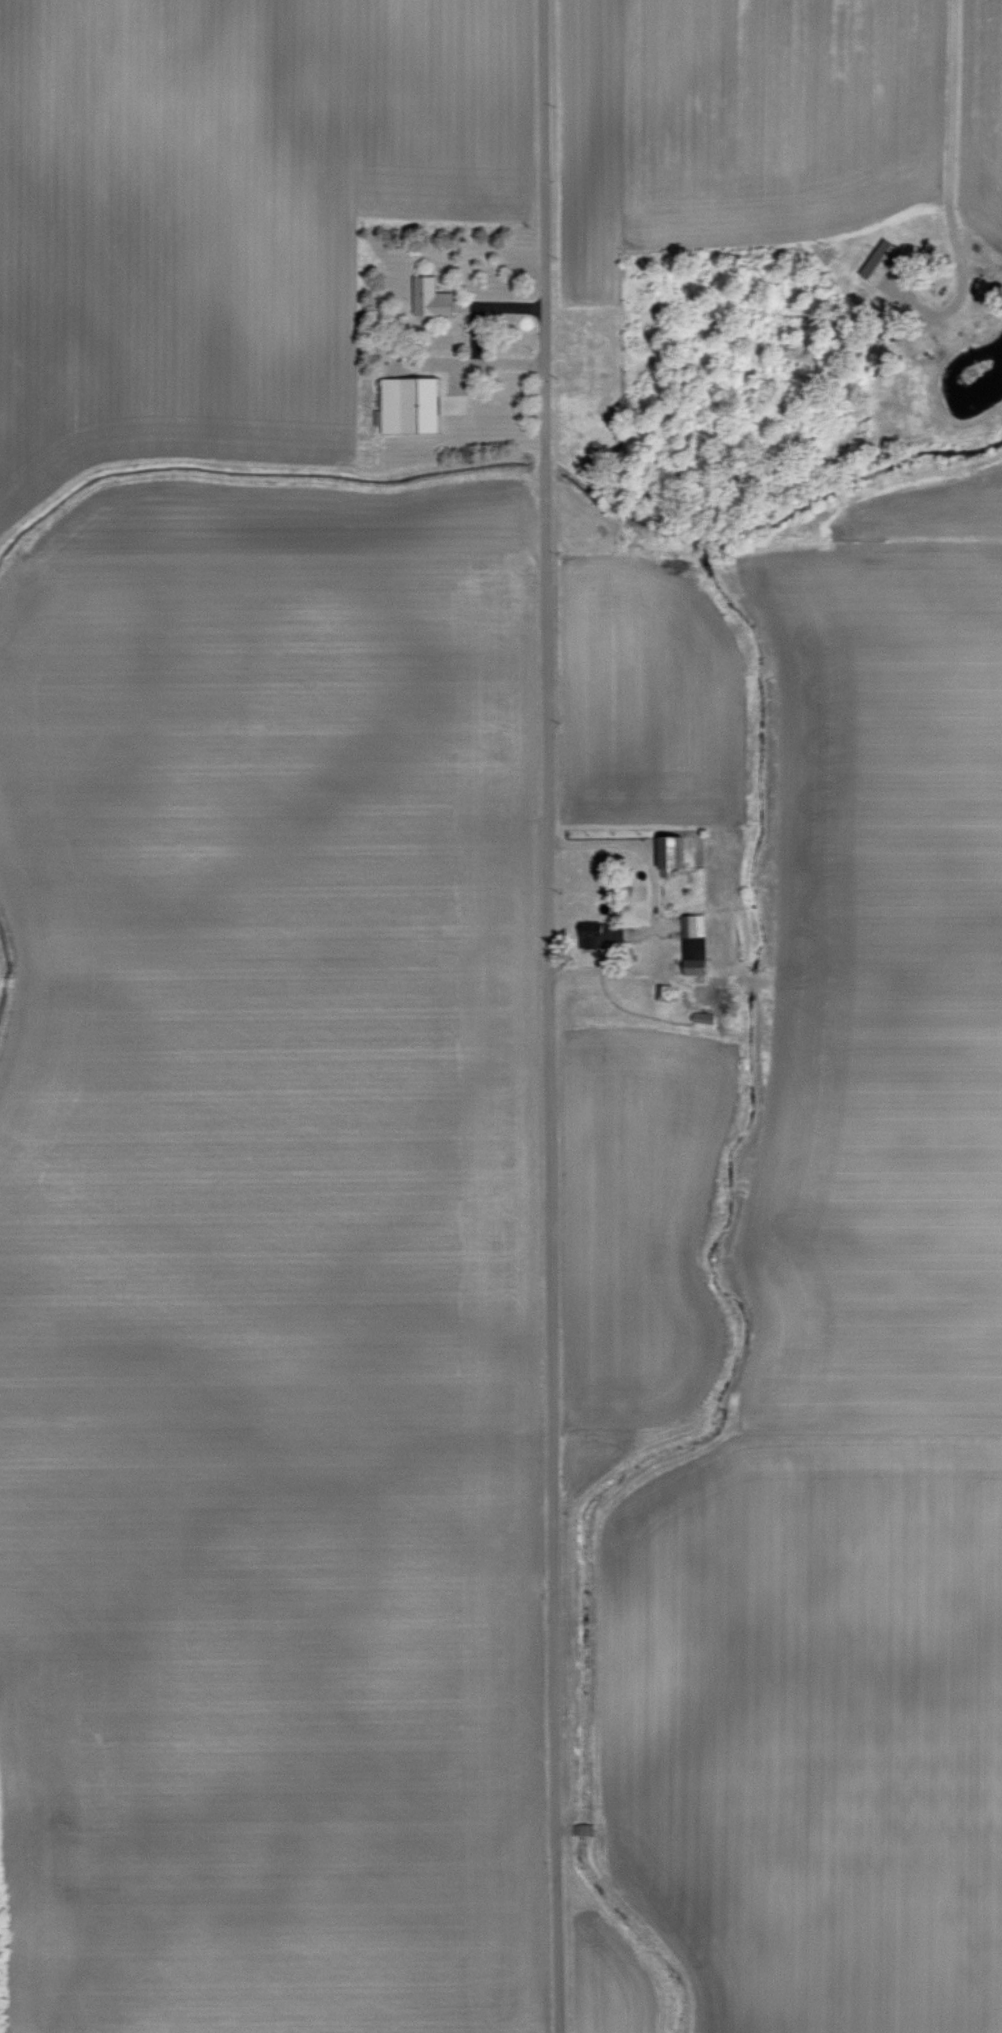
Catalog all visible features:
road: (946, 135)
road: (470, 332)
road: (652, 907)
road: (551, 1016)

